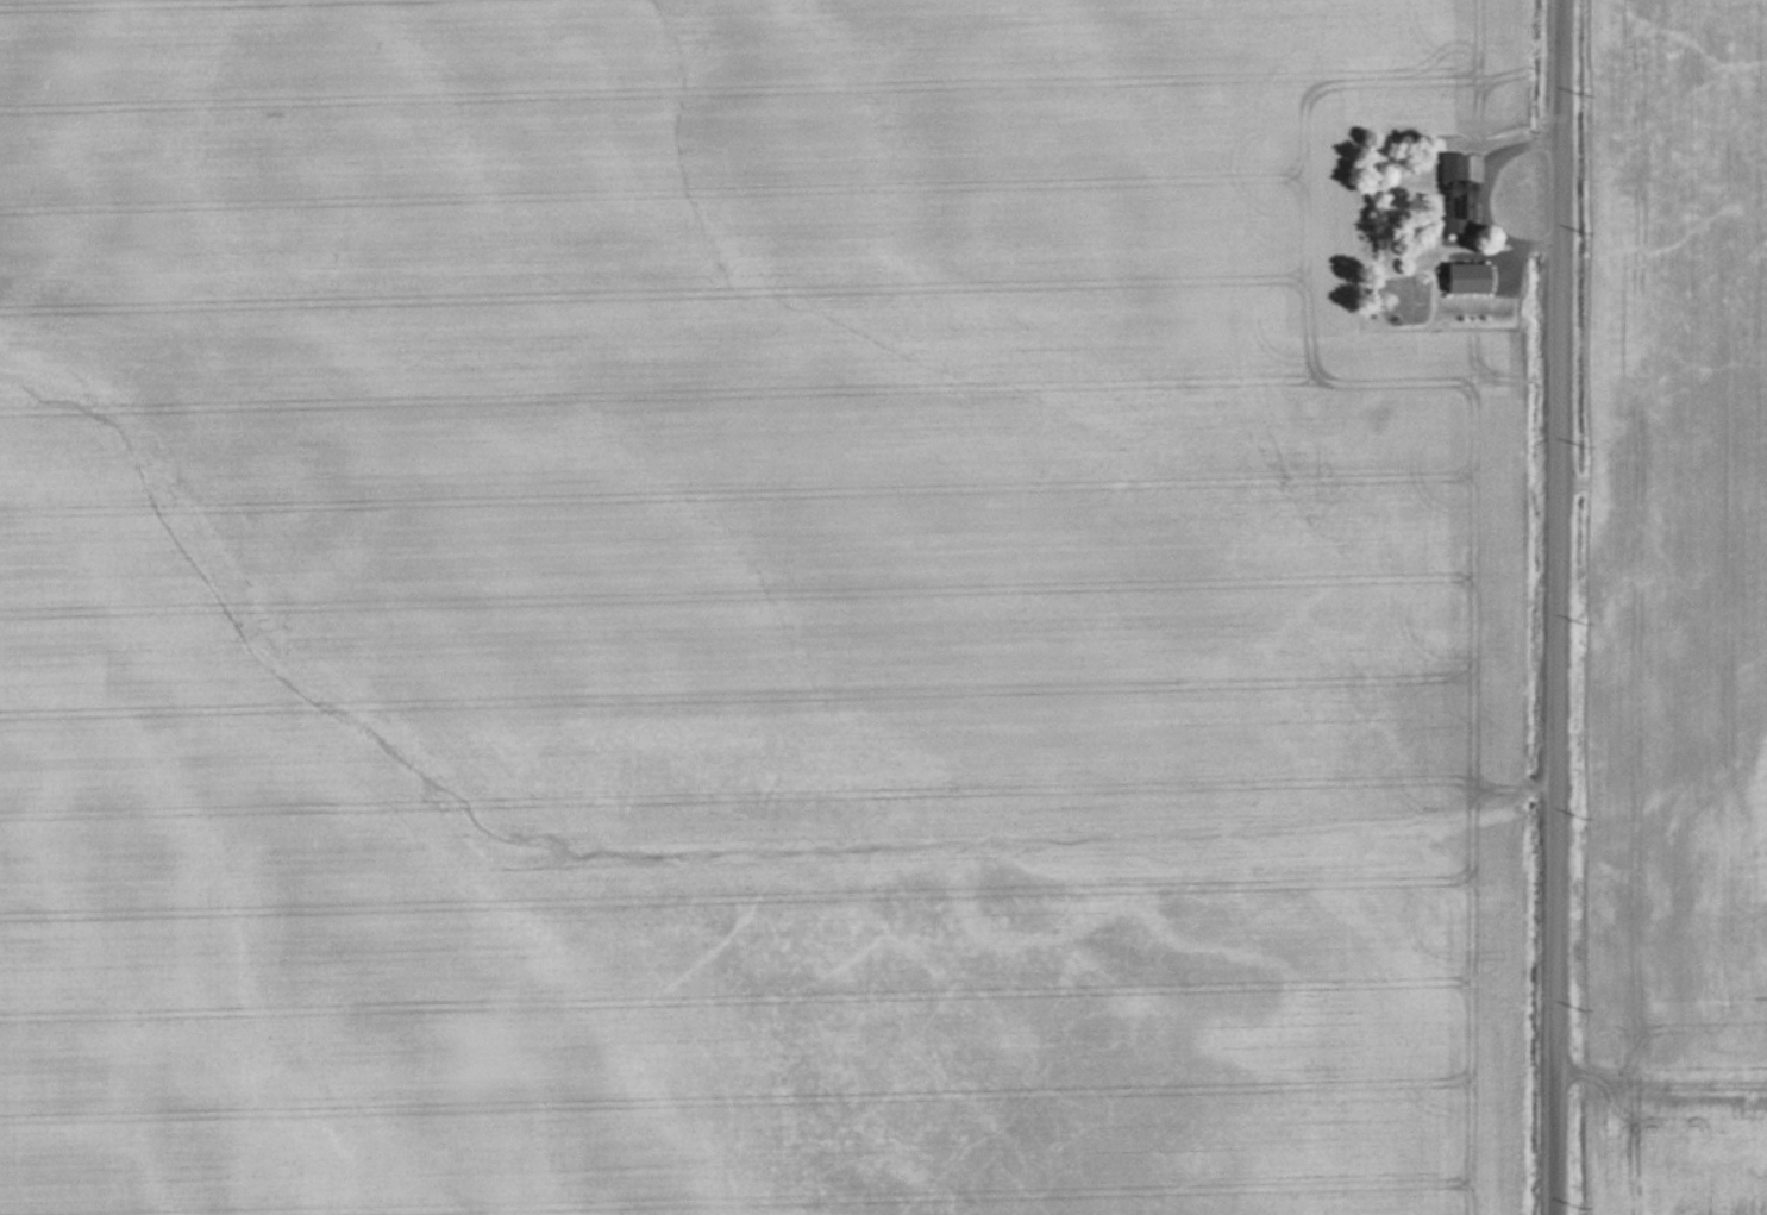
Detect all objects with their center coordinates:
building: (1453, 193)
building: (1462, 277)
road: (1554, 607)

